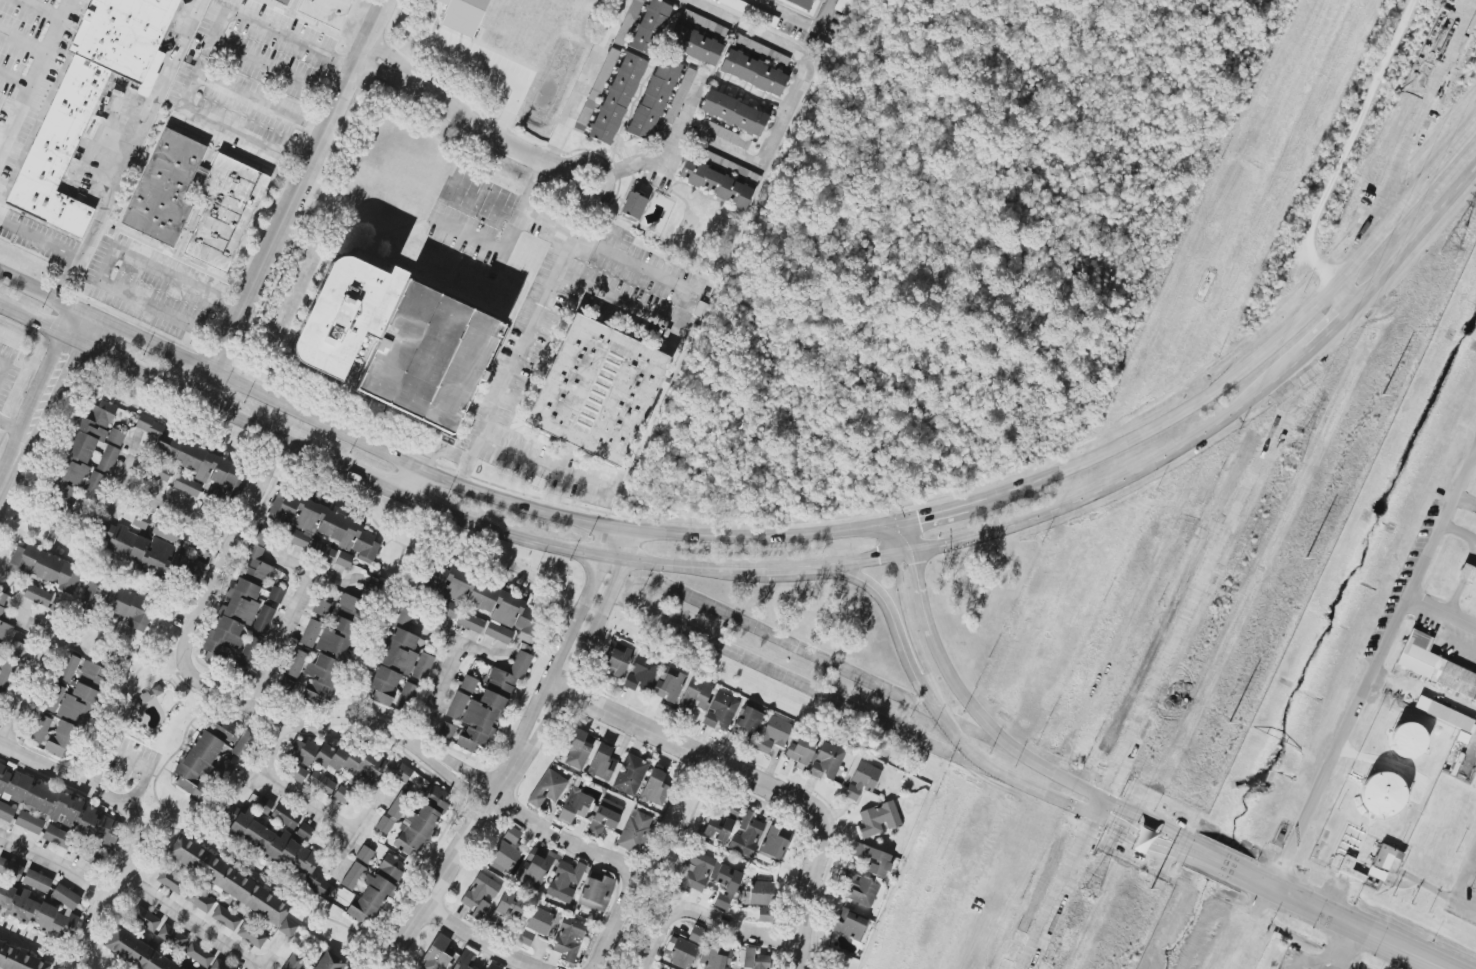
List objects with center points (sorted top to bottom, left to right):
building: (283, 1)
building: (801, 3)
road: (410, 7)
building: (635, 7)
road: (41, 8)
building: (745, 9)
building: (327, 11)
road: (781, 14)
road: (819, 14)
building: (463, 15)
building: (704, 23)
road: (221, 25)
building: (649, 27)
parking lot: (20, 31)
building: (122, 34)
road: (22, 40)
building: (693, 44)
building: (760, 50)
road: (482, 64)
building: (753, 72)
road: (33, 73)
road: (201, 81)
road: (585, 81)
road: (12, 86)
building: (616, 98)
building: (653, 98)
building: (674, 105)
building: (733, 112)
building: (722, 133)
road: (776, 133)
road: (514, 146)
building: (59, 150)
road: (130, 152)
road: (1342, 159)
building: (718, 178)
building: (165, 188)
road: (291, 199)
building: (633, 205)
building: (225, 211)
road: (1415, 237)
road: (36, 239)
power tower: (1448, 249)
road: (103, 267)
road: (679, 287)
building: (329, 310)
road: (1332, 329)
building: (422, 353)
parking garage: (422, 353)
road: (1248, 356)
road: (2, 366)
road: (512, 366)
road: (179, 390)
building: (591, 390)
road: (41, 401)
road: (13, 428)
building: (110, 451)
road: (447, 452)
building: (80, 454)
road: (1474, 455)
building: (196, 459)
power tower: (1292, 463)
road: (543, 465)
building: (162, 474)
road: (436, 474)
road: (407, 480)
road: (122, 481)
building: (92, 485)
road: (379, 485)
building: (187, 486)
road: (177, 507)
road: (935, 515)
building: (140, 521)
building: (320, 525)
road: (789, 525)
road: (26, 527)
building: (165, 532)
road: (1457, 533)
road: (612, 543)
building: (321, 551)
building: (157, 552)
building: (344, 560)
road: (876, 560)
building: (43, 567)
building: (1467, 573)
road: (313, 577)
building: (276, 594)
building: (37, 595)
building: (3, 601)
building: (485, 602)
building: (239, 603)
building: (53, 604)
building: (129, 607)
road: (1441, 607)
building: (321, 608)
building: (449, 609)
building: (262, 620)
road: (576, 620)
building: (470, 622)
road: (595, 627)
road: (892, 629)
building: (3, 633)
building: (310, 633)
road: (58, 636)
road: (468, 640)
road: (279, 642)
building: (15, 648)
building: (249, 650)
building: (332, 651)
building: (395, 656)
building: (615, 660)
building: (295, 663)
building: (1433, 664)
road: (1371, 665)
building: (422, 666)
building: (67, 668)
building: (6, 672)
building: (640, 673)
building: (669, 686)
building: (285, 687)
road: (24, 690)
road: (436, 690)
building: (82, 694)
building: (0, 695)
road: (220, 695)
building: (406, 696)
building: (461, 697)
building: (694, 697)
building: (53, 698)
building: (490, 704)
building: (721, 711)
building: (1444, 714)
building: (748, 722)
road: (982, 723)
building: (40, 729)
building: (223, 729)
building: (446, 731)
building: (773, 734)
building: (60, 739)
building: (1407, 741)
road: (958, 743)
building: (244, 744)
road: (687, 747)
building: (577, 749)
road: (130, 757)
building: (814, 757)
building: (347, 760)
building: (602, 763)
building: (202, 764)
building: (298, 774)
building: (630, 775)
building: (861, 780)
building: (321, 783)
building: (12, 784)
building: (655, 787)
building: (547, 788)
road: (286, 790)
building: (341, 794)
building: (1382, 794)
building: (53, 804)
building: (574, 805)
building: (278, 811)
building: (6, 812)
building: (393, 813)
building: (604, 817)
building: (878, 819)
building: (29, 822)
building: (420, 823)
building: (721, 824)
road: (132, 826)
building: (99, 827)
road: (359, 829)
road: (472, 830)
building: (635, 831)
building: (305, 832)
building: (745, 835)
building: (57, 837)
road: (1177, 843)
building: (274, 845)
building: (774, 845)
road: (581, 848)
building: (505, 850)
building: (364, 854)
park: (665, 858)
building: (872, 859)
road: (1212, 859)
road: (1471, 860)
building: (1383, 861)
road: (53, 864)
building: (534, 868)
building: (10, 869)
building: (1349, 869)
building: (696, 871)
building: (353, 876)
road: (1252, 878)
building: (228, 880)
building: (565, 880)
power tower: (1097, 880)
parking lot: (1463, 880)
building: (37, 881)
building: (170, 881)
building: (726, 885)
building: (860, 888)
building: (375, 890)
road: (806, 890)
road: (1458, 891)
building: (596, 892)
building: (760, 894)
building: (480, 895)
building: (199, 901)
building: (506, 909)
building: (42, 910)
building: (764, 914)
building: (145, 918)
building: (225, 918)
road: (711, 919)
road: (189, 923)
building: (849, 924)
building: (535, 925)
road: (1357, 926)
building: (289, 928)
building: (251, 935)
building: (697, 935)
building: (172, 936)
building: (568, 938)
road: (480, 940)
road: (603, 946)
road: (1339, 948)
building: (680, 950)
building: (136, 952)
building: (199, 954)
road: (271, 954)
building: (437, 954)
building: (20, 958)
building: (714, 958)
building: (753, 959)
building: (464, 960)
road: (1313, 960)
building: (293, 961)
building: (327, 961)
road: (641, 962)
building: (219, 965)
building: (493, 966)

